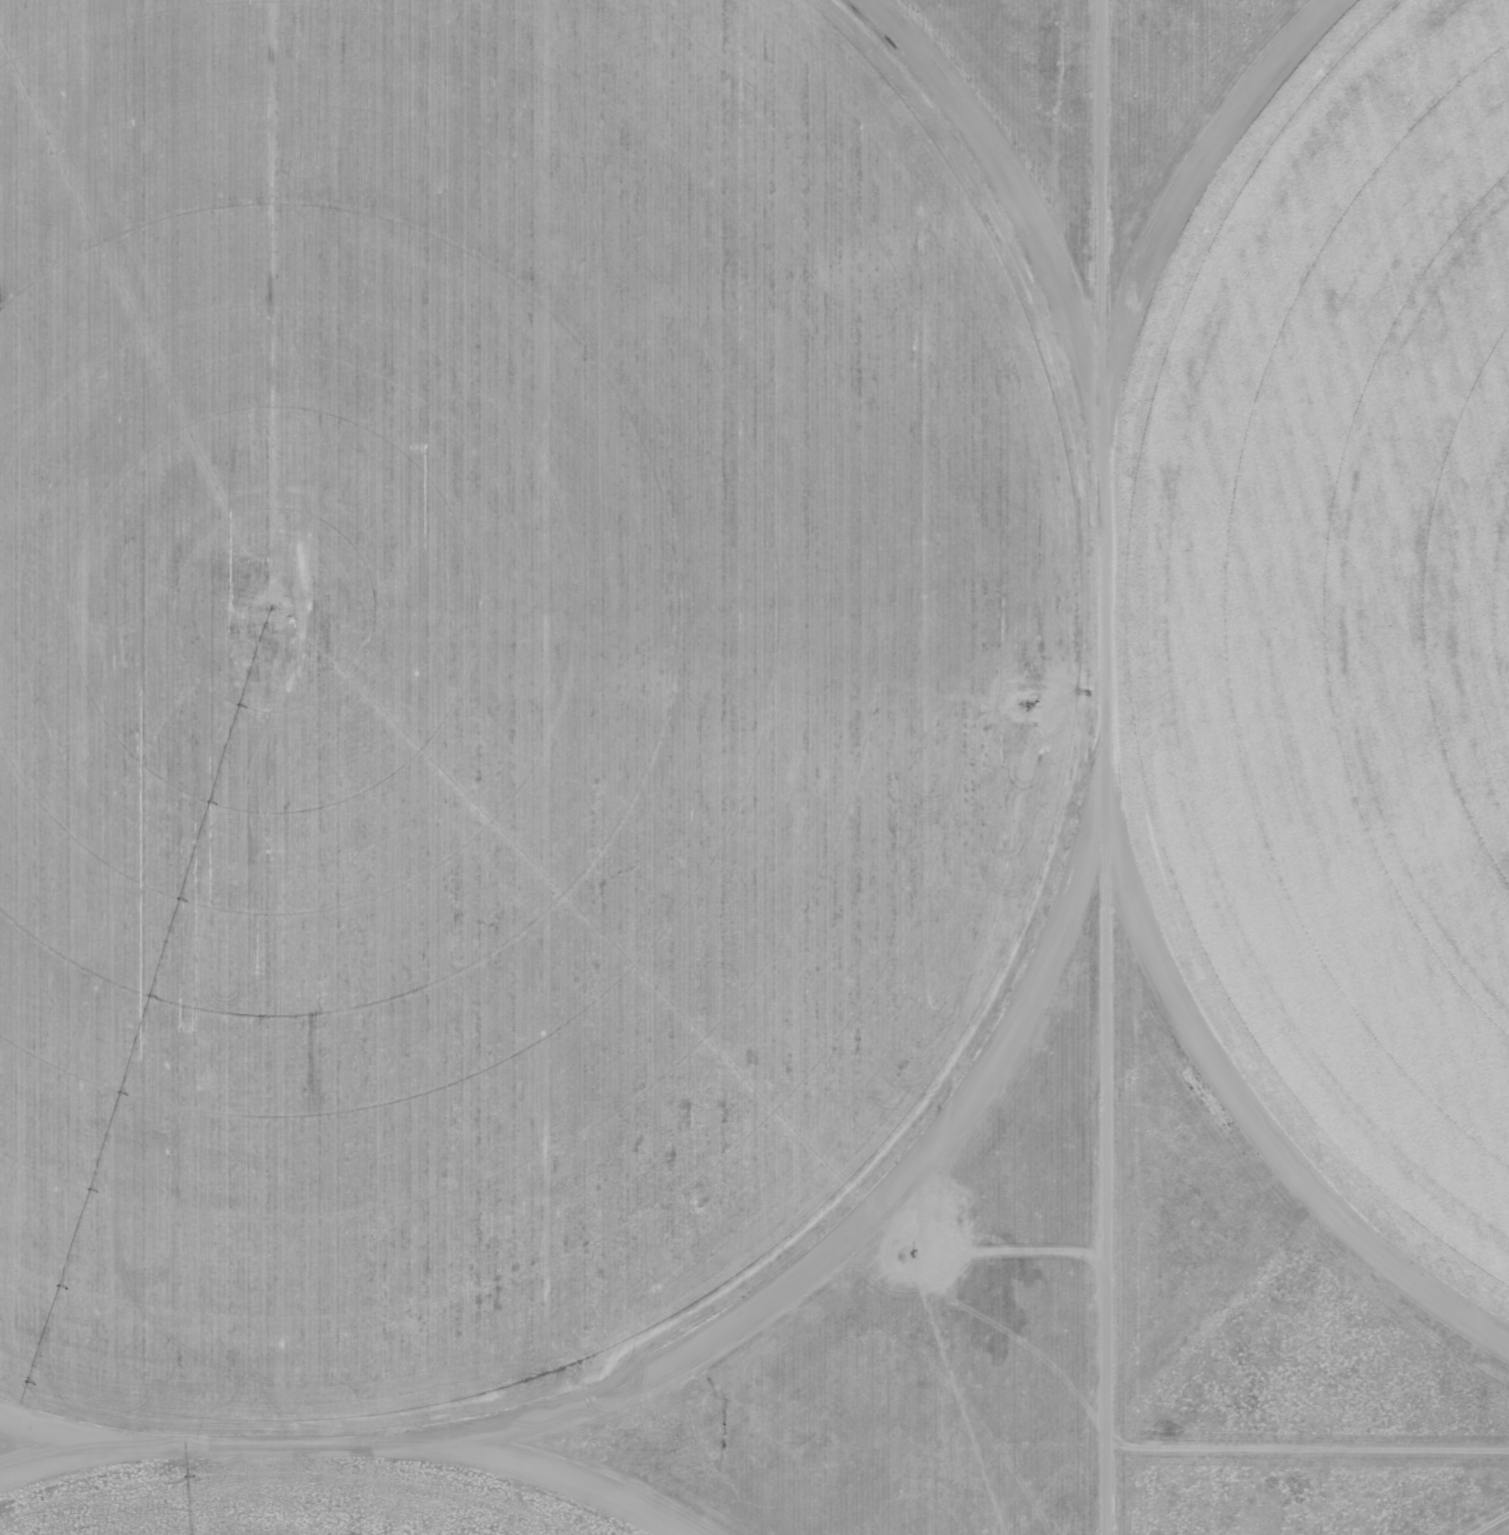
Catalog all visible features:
road: (1328, 1380)

